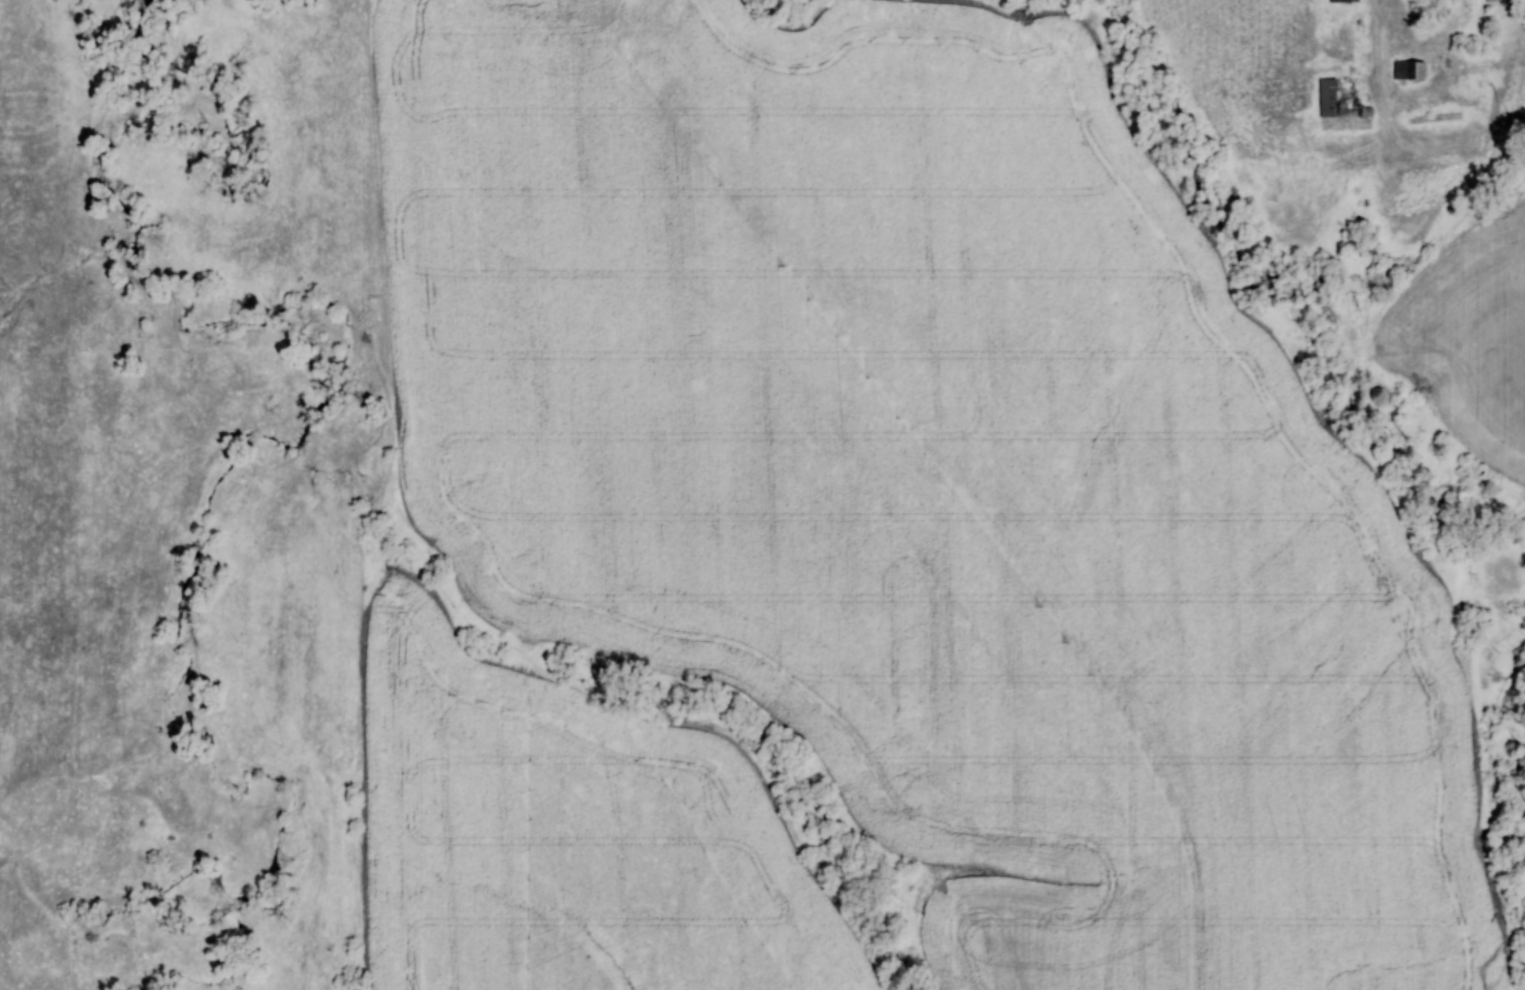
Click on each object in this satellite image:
building: (1494, 0)
building: (1341, 1)
building: (1408, 70)
building: (1326, 97)

